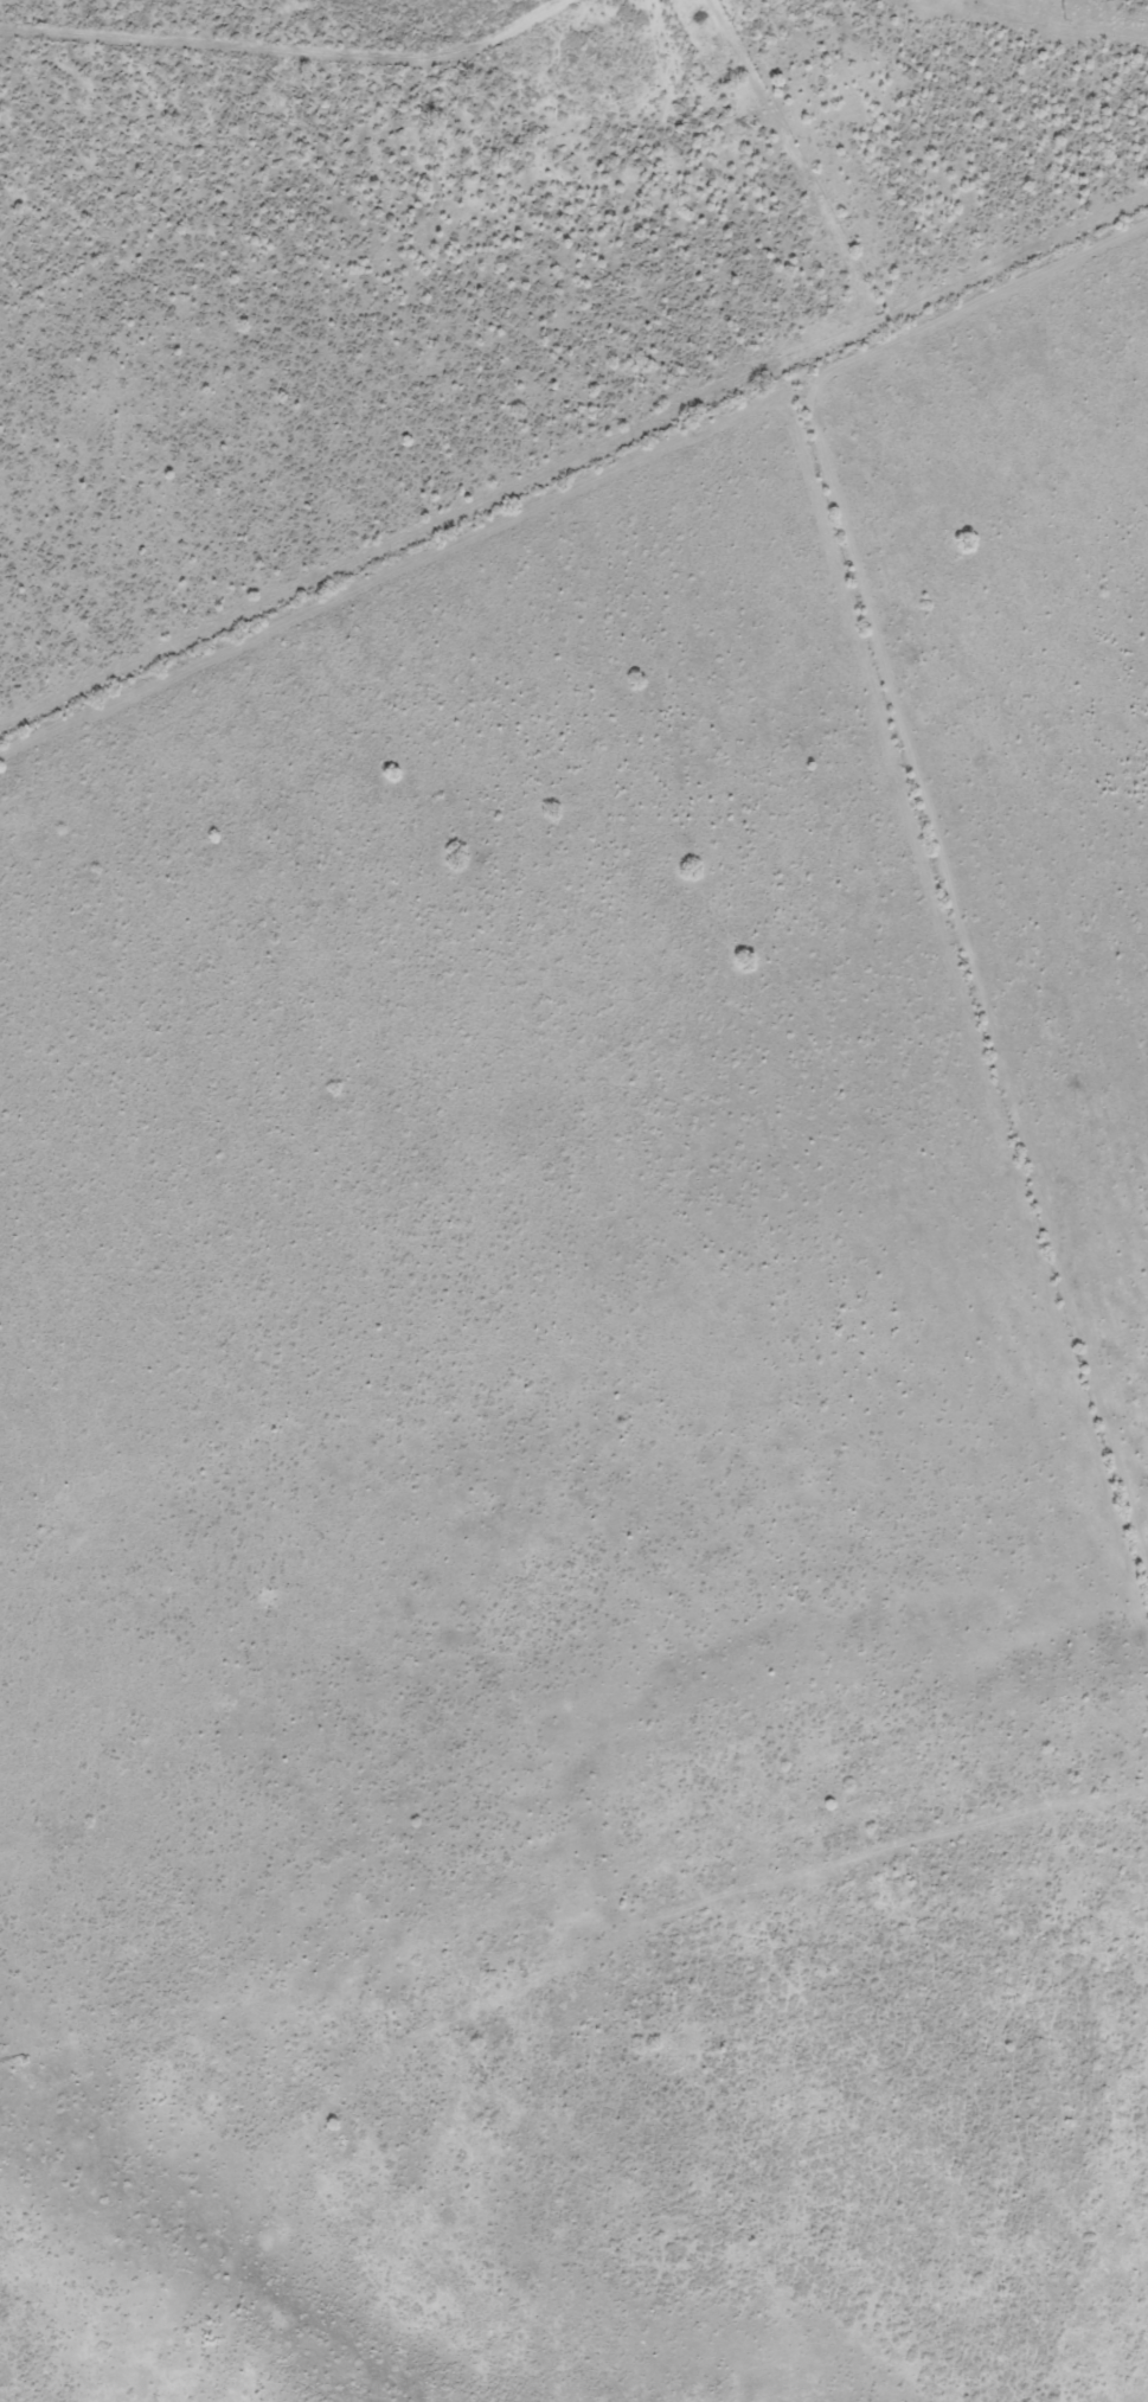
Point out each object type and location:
power tower: (1060, 21)

